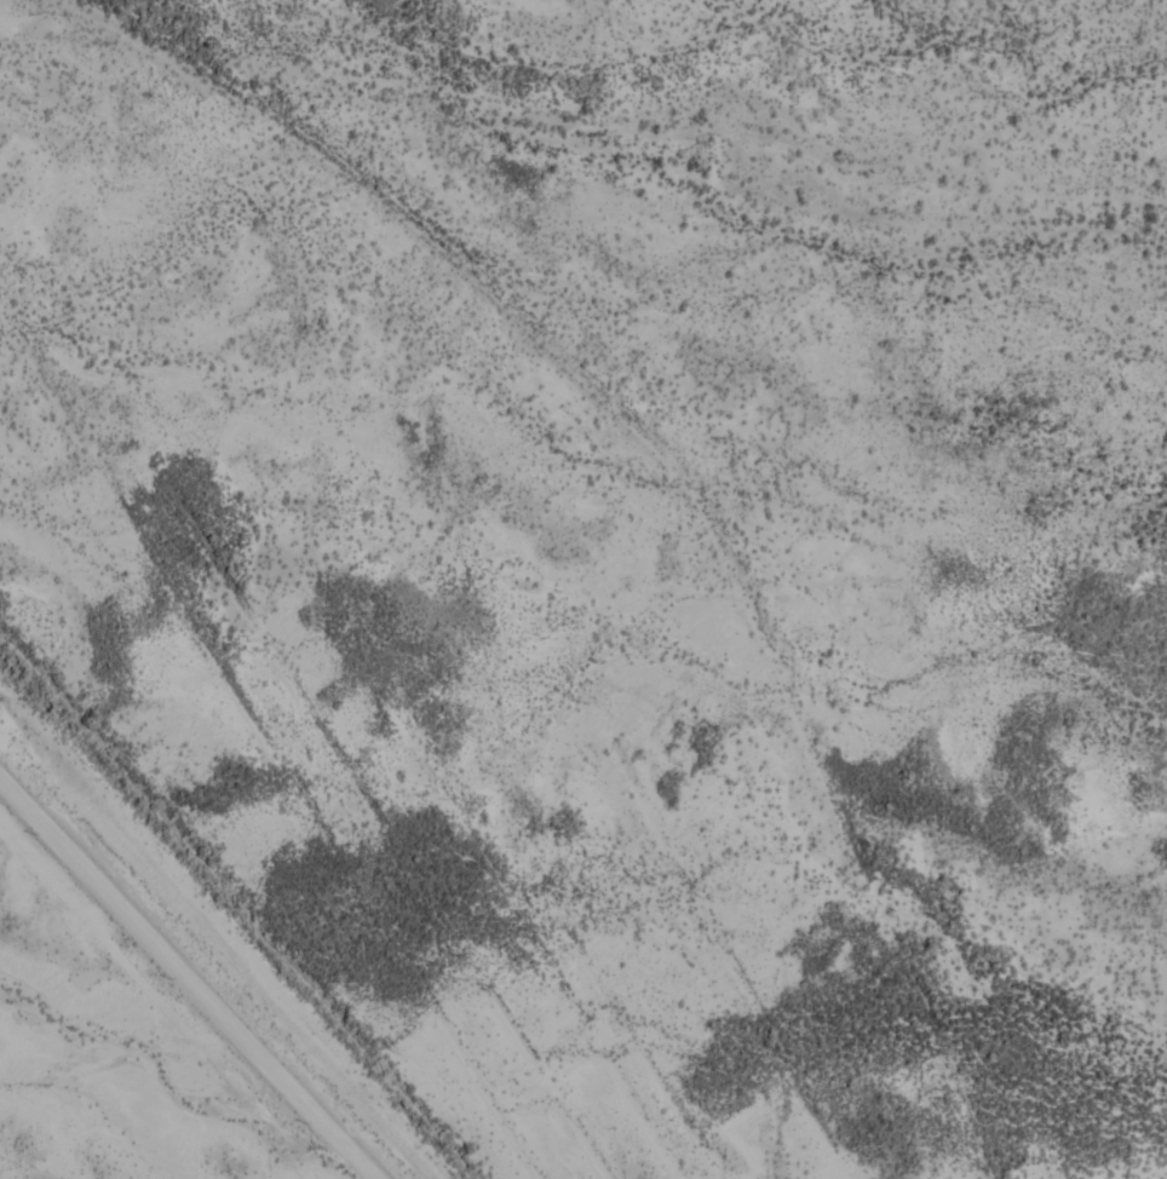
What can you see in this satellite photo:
road: (184, 982)

